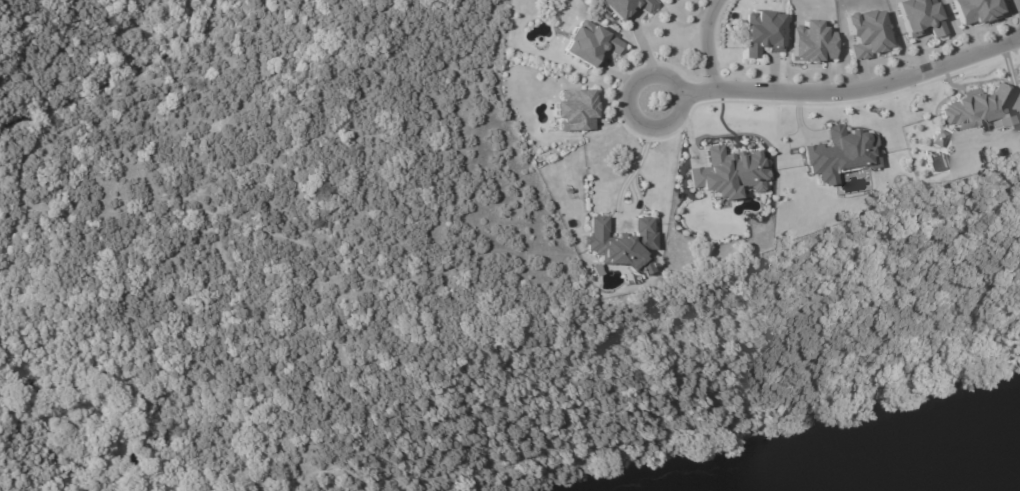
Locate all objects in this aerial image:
building: (665, 0)
building: (627, 7)
building: (974, 10)
building: (918, 17)
building: (763, 32)
building: (866, 33)
building: (811, 42)
building: (589, 43)
road: (705, 43)
road: (839, 89)
building: (575, 109)
building: (978, 111)
building: (938, 138)
building: (840, 153)
building: (728, 172)
road: (631, 180)
building: (620, 243)

